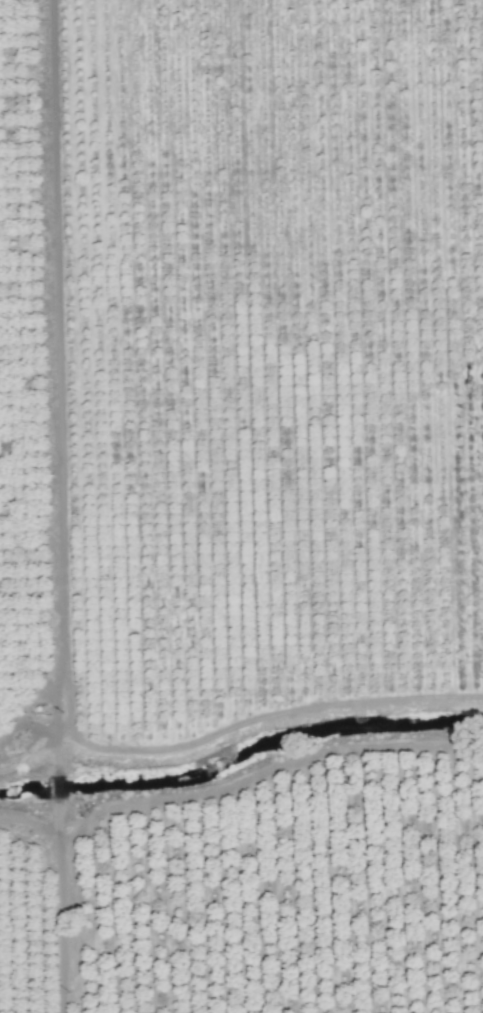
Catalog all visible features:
road: (265, 721)
road: (28, 756)
road: (56, 787)
road: (28, 827)

